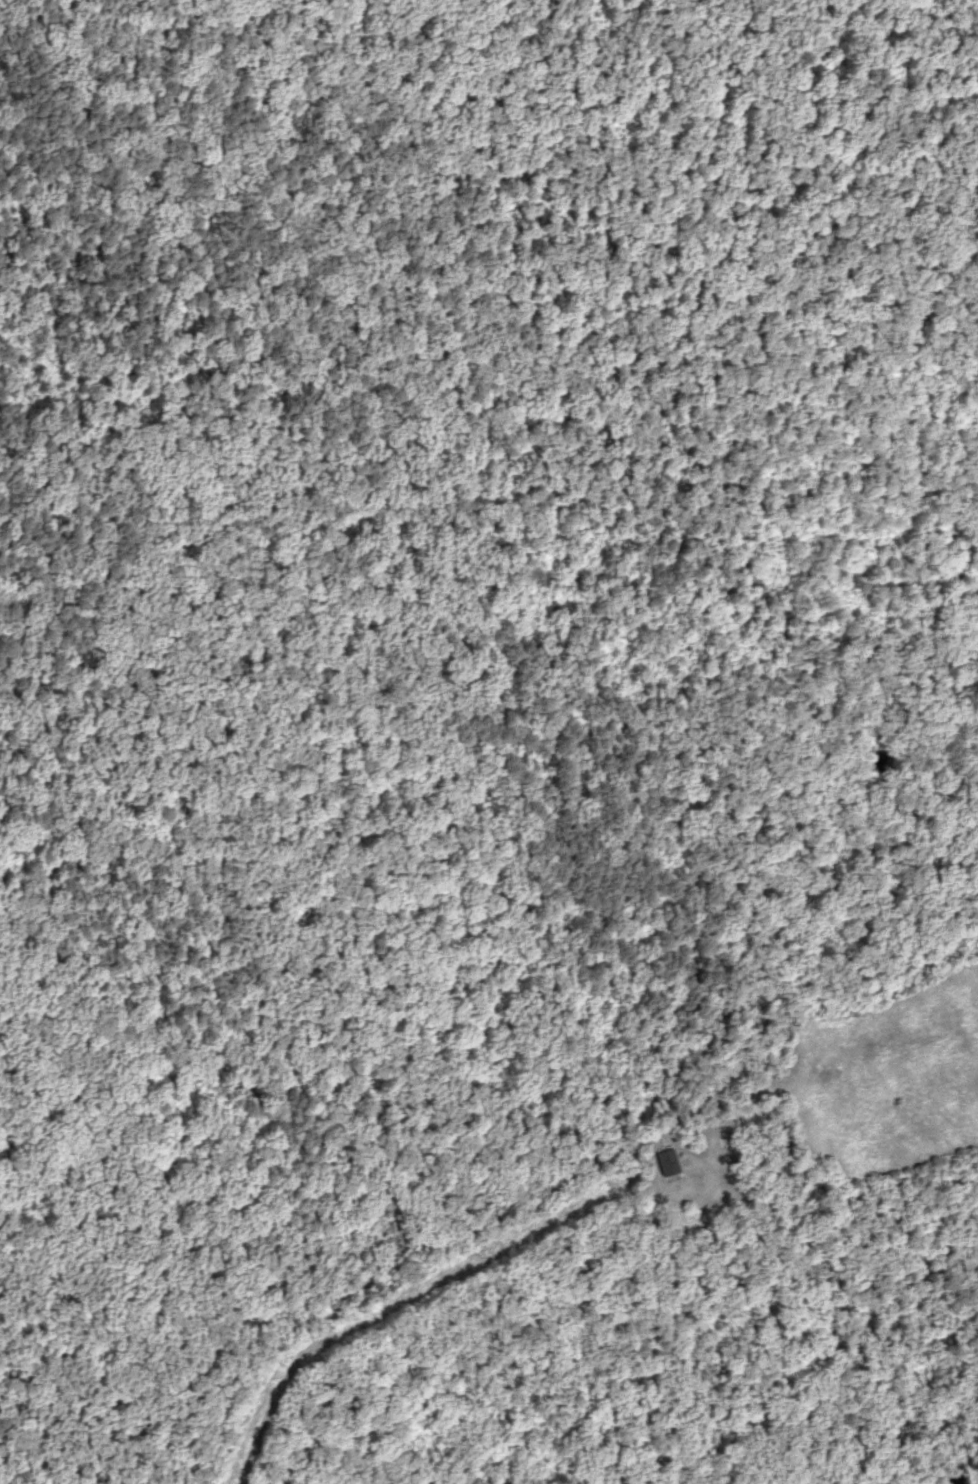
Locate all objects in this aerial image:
building: (665, 1162)
road: (373, 1306)

